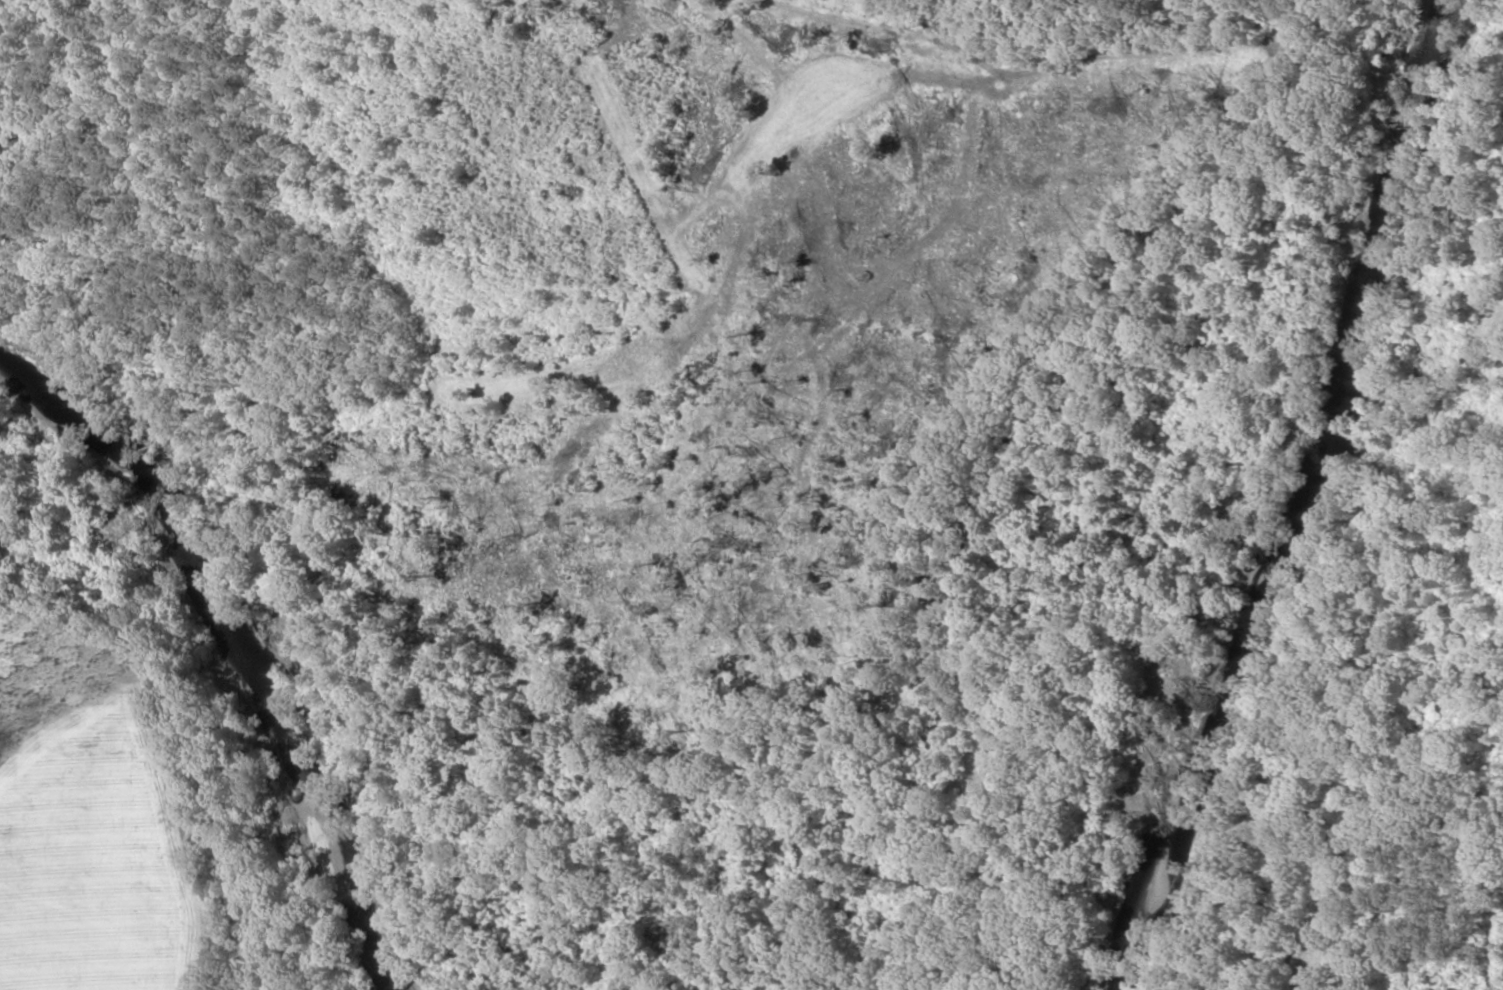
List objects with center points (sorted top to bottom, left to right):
road: (822, 16)

